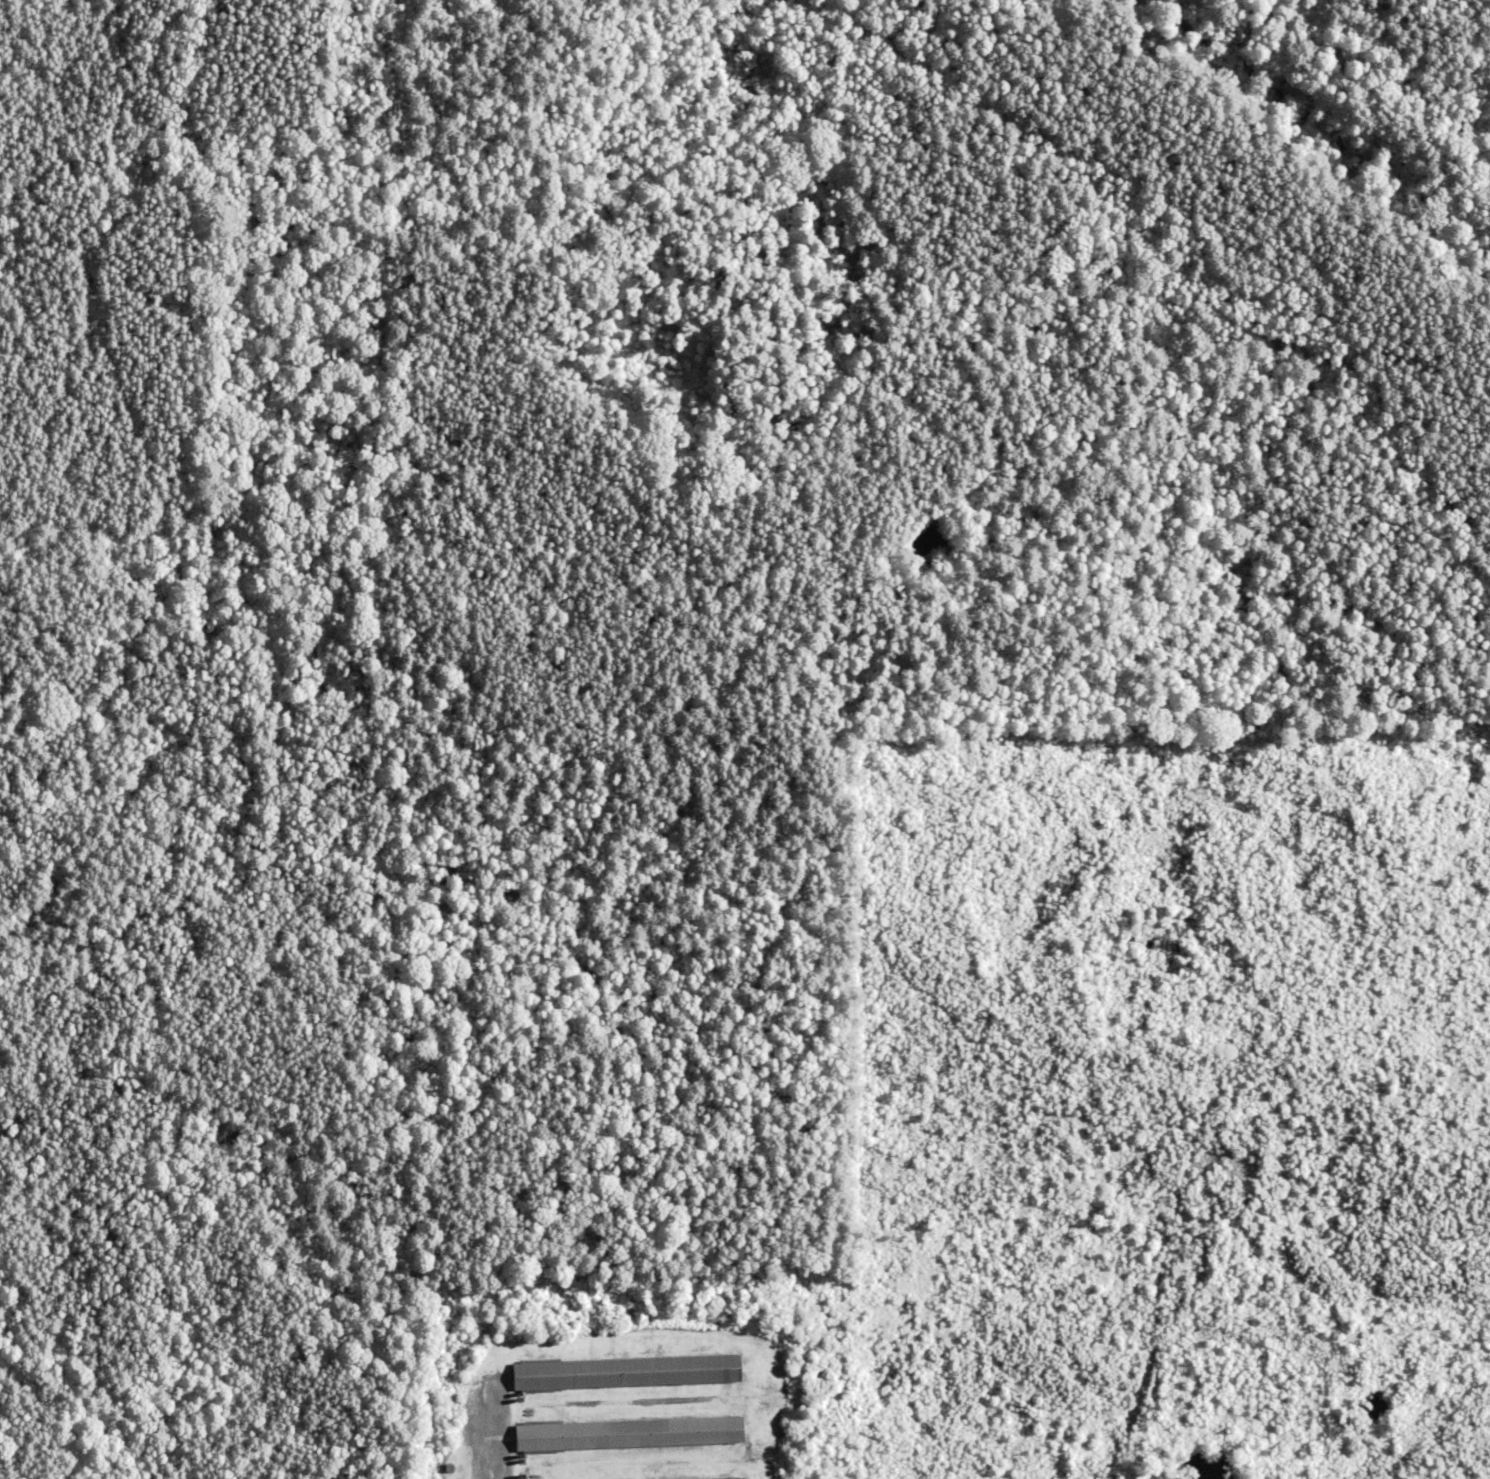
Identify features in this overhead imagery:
building: (626, 1371)
building: (628, 1433)
building: (729, 1478)

